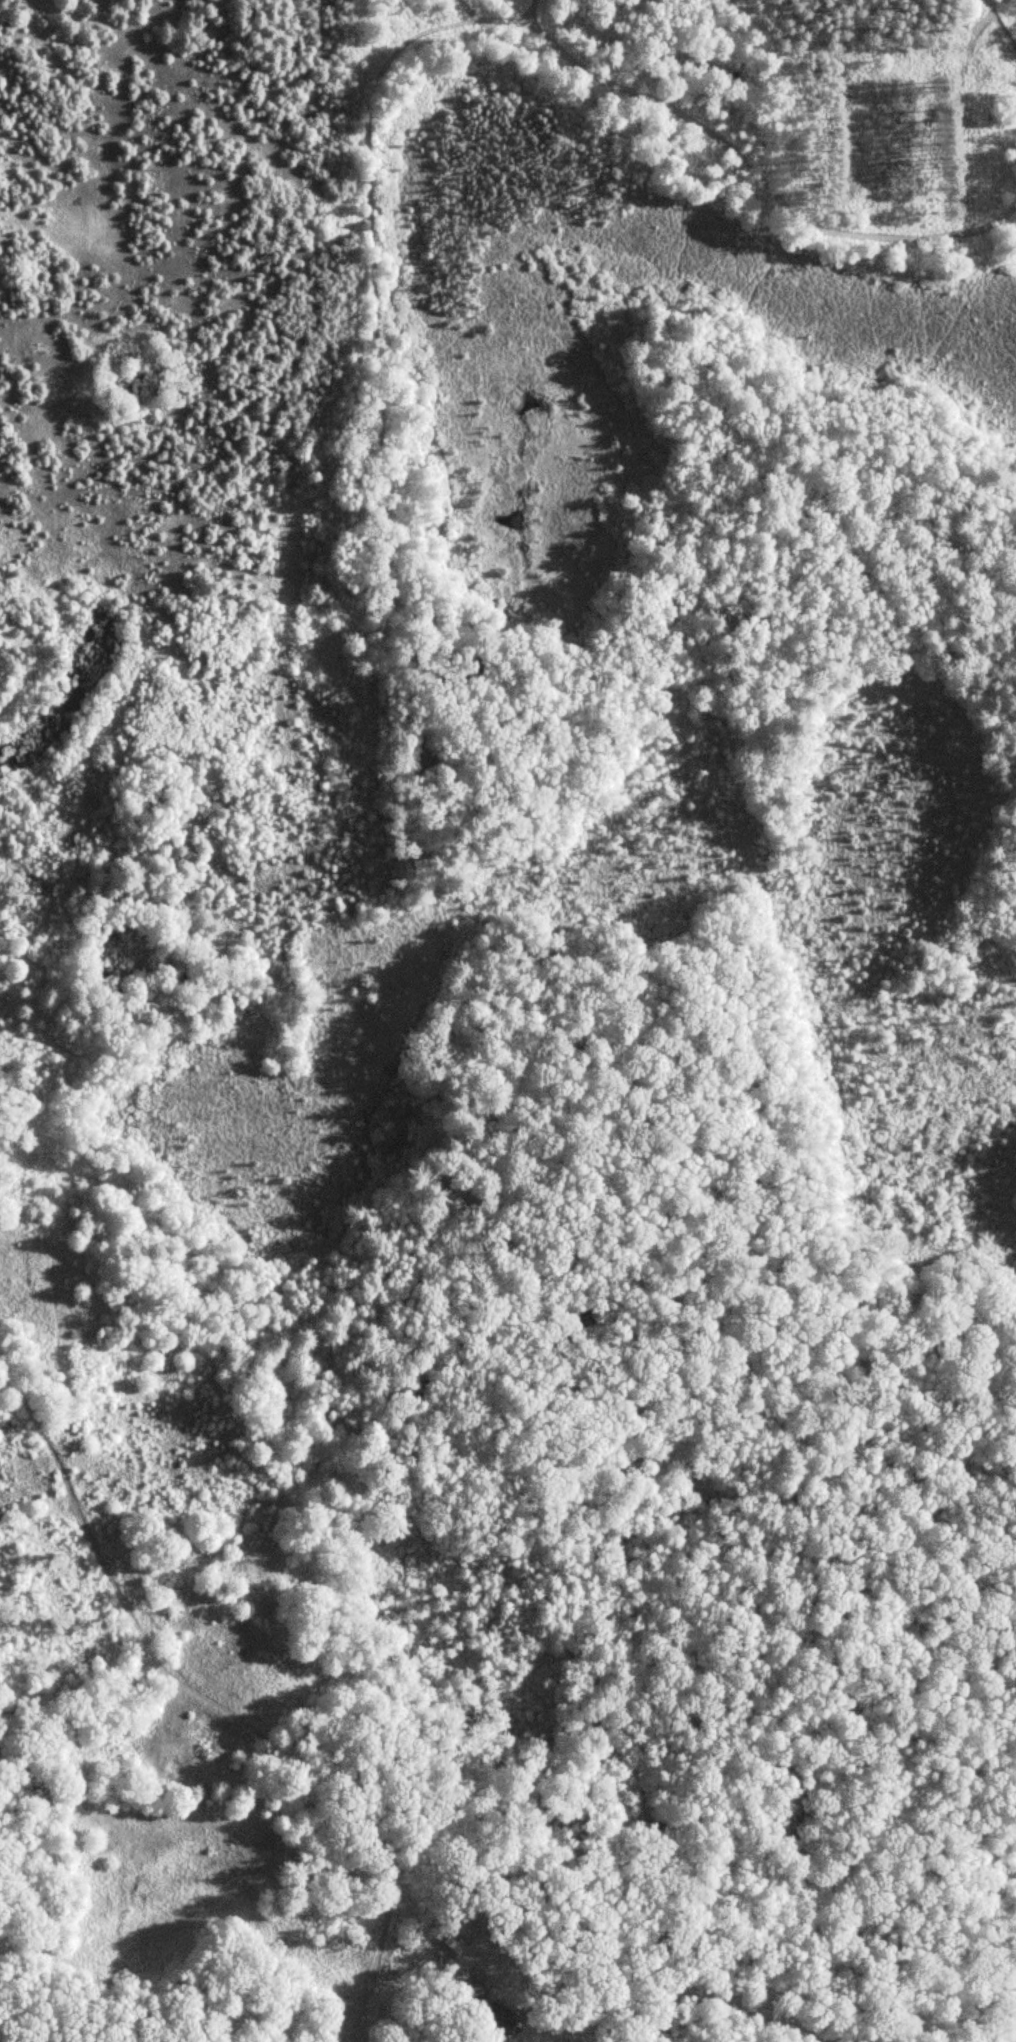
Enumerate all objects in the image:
road: (696, 1995)
building: (471, 1996)
building: (503, 2021)

